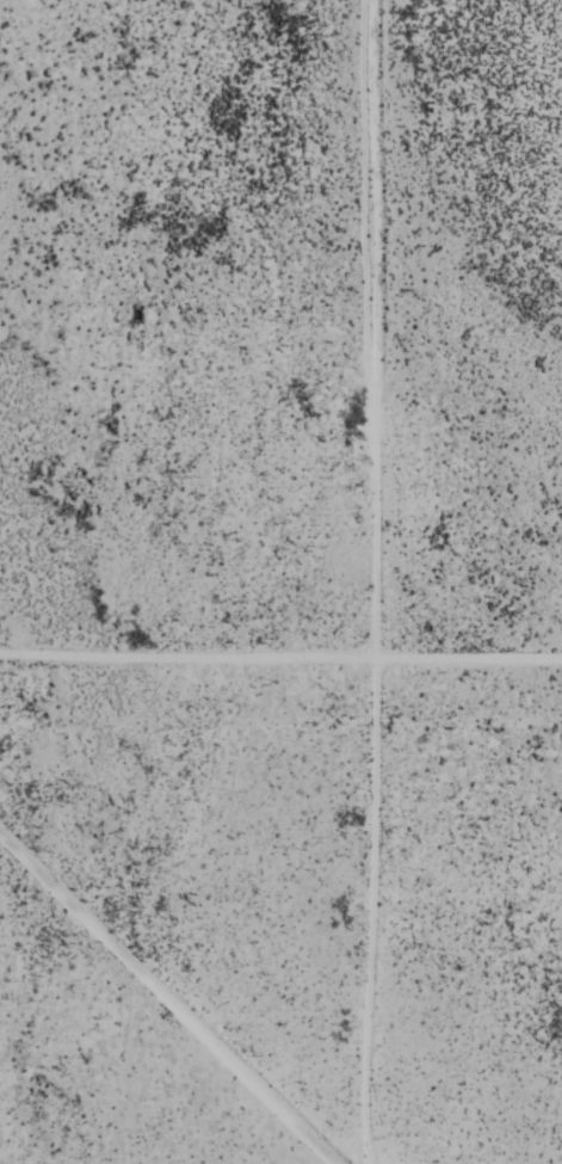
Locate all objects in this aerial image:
road: (280, 695)
road: (169, 999)

